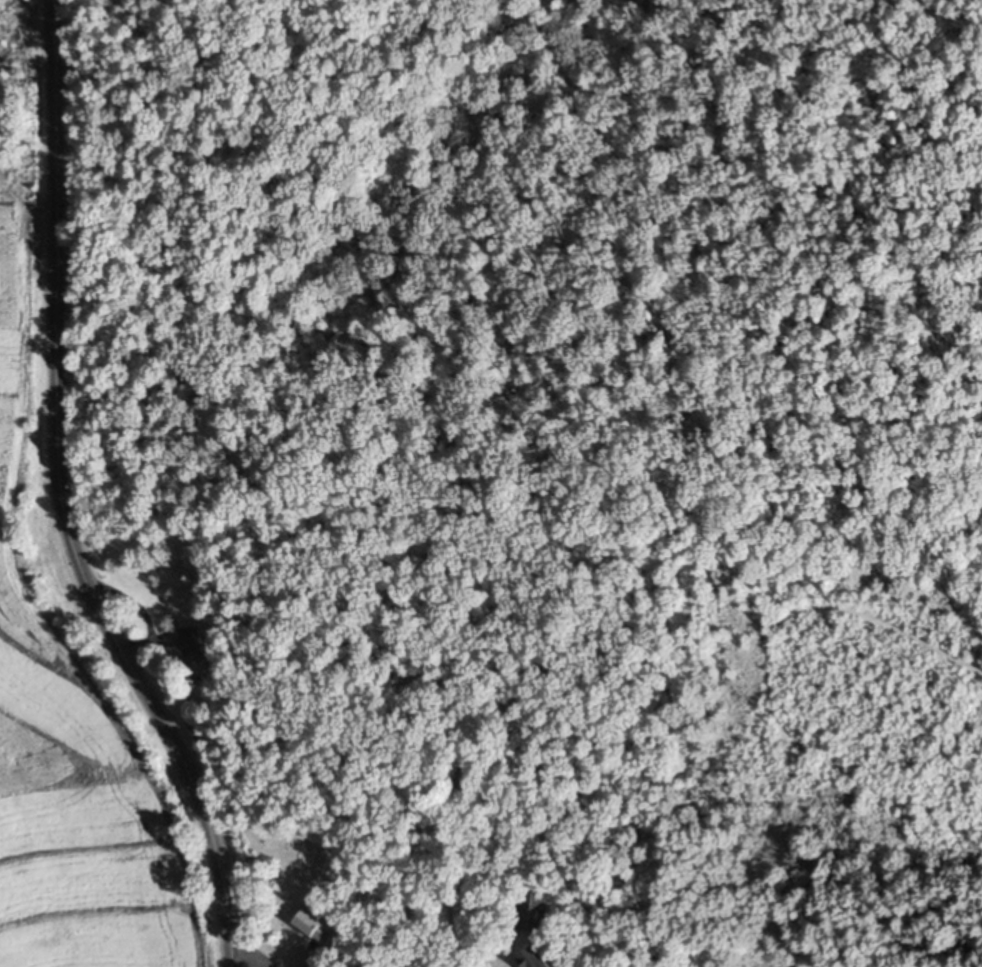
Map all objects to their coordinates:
road: (62, 500)
building: (194, 644)
building: (533, 910)
building: (315, 925)
road: (250, 957)
building: (535, 958)

